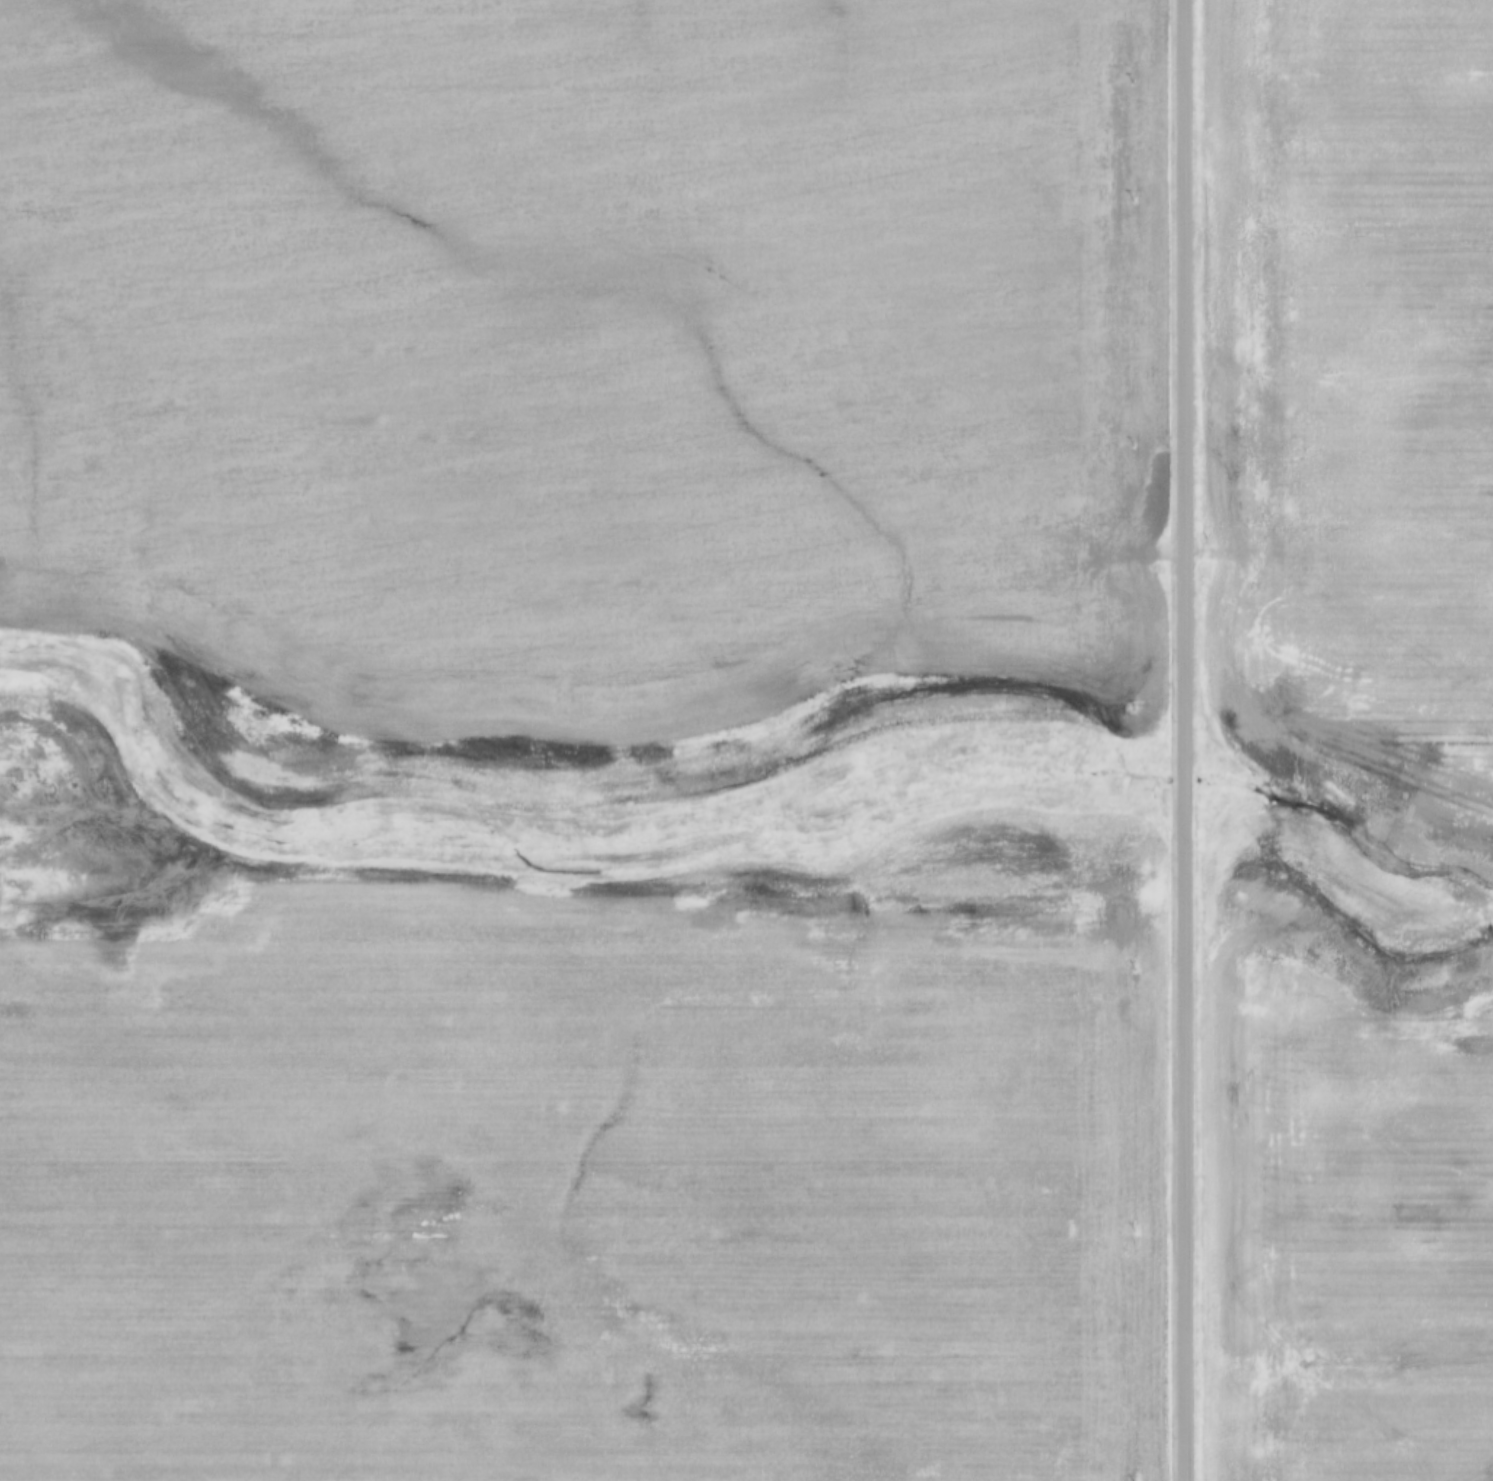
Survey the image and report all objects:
road: (1192, 740)

